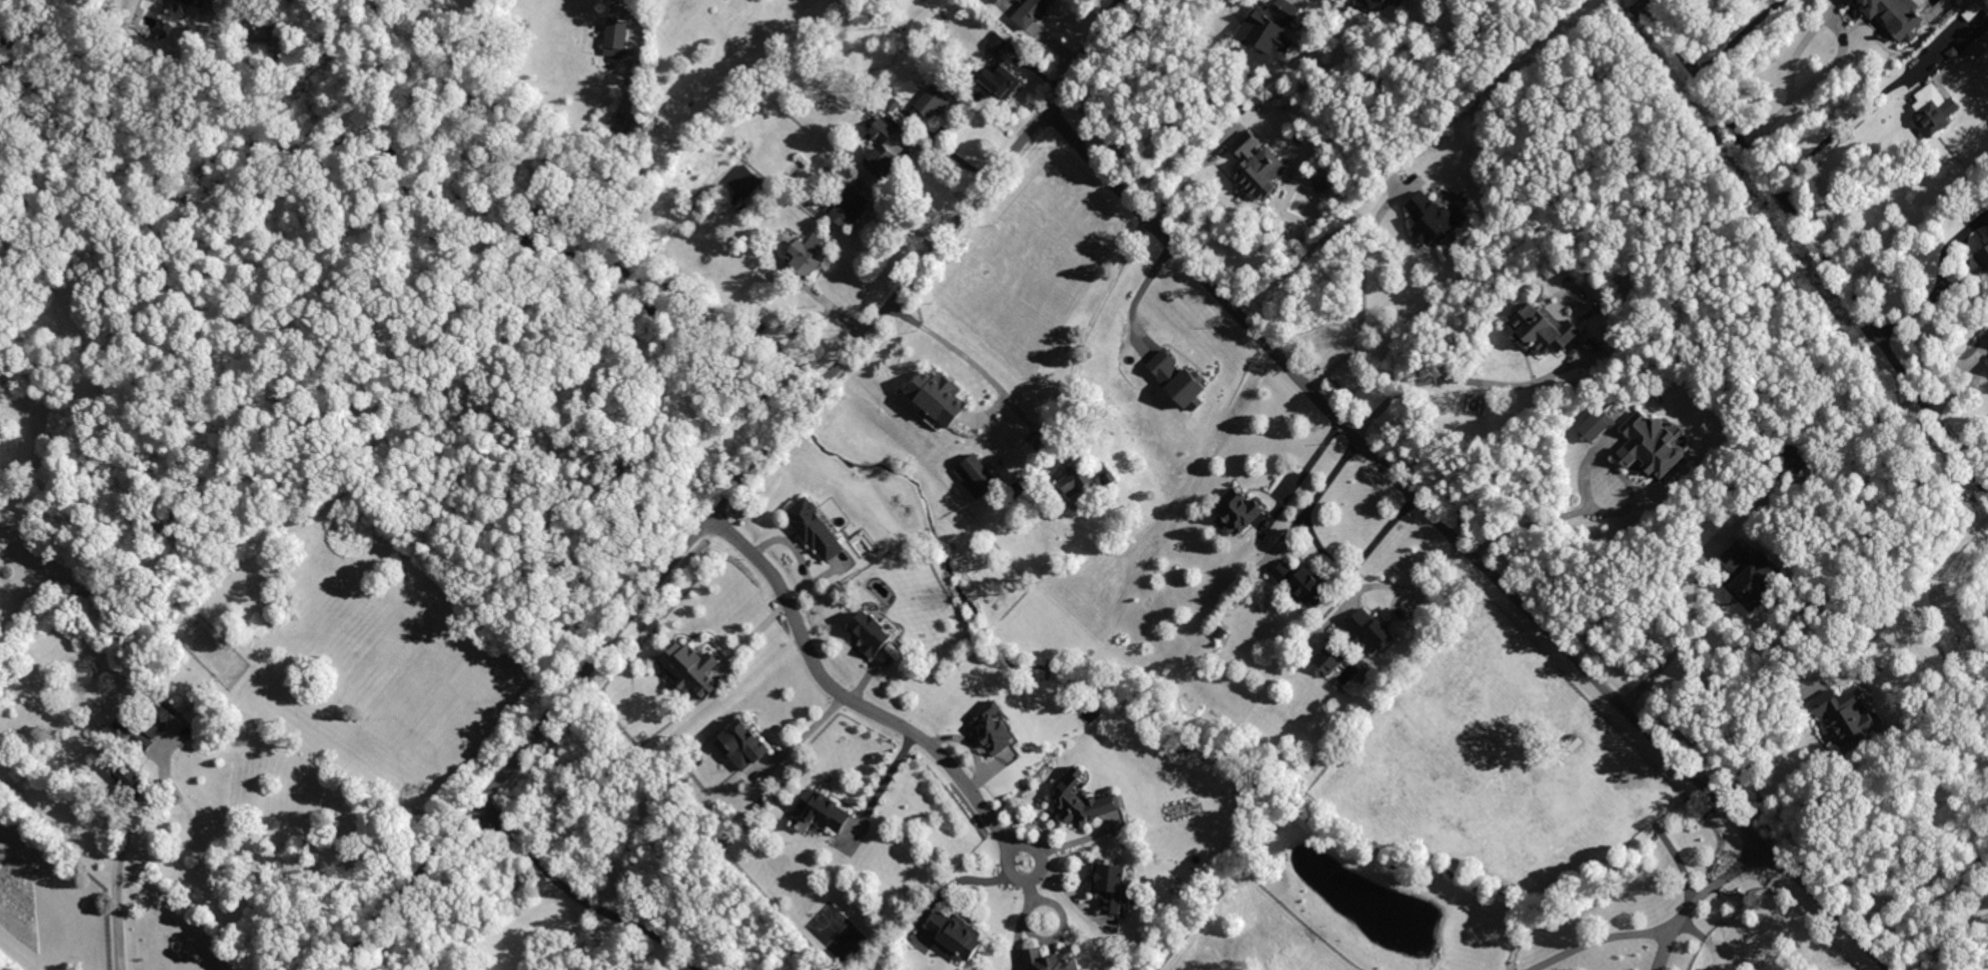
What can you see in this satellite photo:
building: (196, 1)
building: (993, 1)
building: (1383, 1)
building: (1370, 2)
building: (1030, 12)
building: (1895, 15)
building: (1270, 29)
road: (1739, 36)
building: (996, 40)
building: (1978, 45)
road: (1839, 50)
building: (1001, 80)
building: (933, 101)
road: (1862, 103)
building: (1932, 109)
building: (881, 150)
building: (1257, 166)
road: (1191, 172)
building: (748, 182)
building: (1321, 182)
building: (847, 205)
building: (1432, 218)
building: (1984, 247)
road: (1822, 250)
building: (808, 253)
road: (1941, 280)
road: (1141, 287)
road: (1363, 294)
road: (825, 302)
building: (1542, 328)
building: (1987, 333)
road: (1080, 348)
road: (965, 355)
building: (1177, 377)
road: (1453, 377)
building: (938, 395)
building: (1596, 423)
building: (1650, 444)
building: (974, 474)
road: (1303, 474)
building: (1085, 477)
road: (736, 486)
building: (1237, 511)
road: (1608, 511)
building: (815, 528)
road: (1464, 544)
road: (1324, 546)
building: (1750, 574)
building: (1301, 582)
road: (1419, 602)
building: (1369, 630)
building: (873, 631)
road: (1681, 639)
building: (1329, 658)
building: (692, 668)
road: (837, 690)
building: (1843, 713)
building: (153, 726)
building: (993, 727)
road: (805, 734)
building: (744, 743)
road: (1769, 751)
building: (130, 774)
road: (883, 786)
building: (1082, 799)
road: (1028, 879)
building: (1111, 884)
road: (118, 892)
road: (583, 897)
road: (1697, 897)
building: (955, 935)
road: (1947, 938)
road: (1595, 940)
building: (1051, 960)

